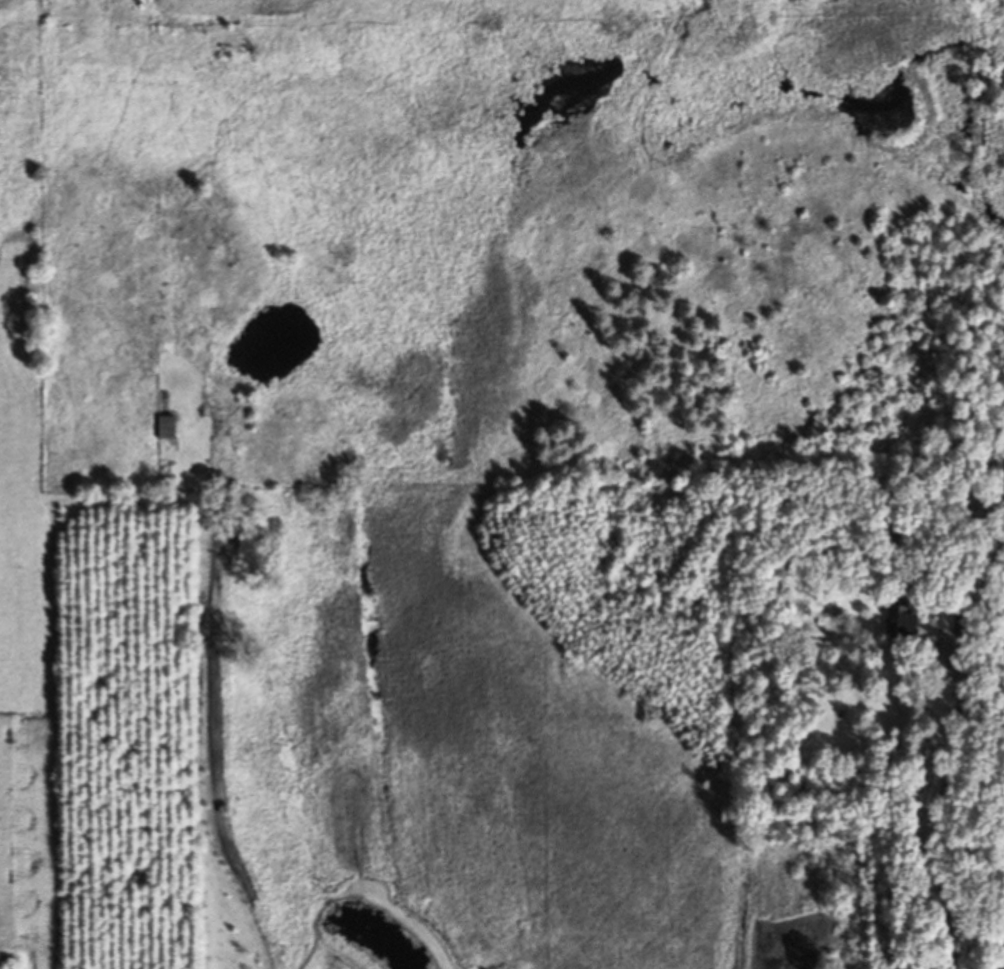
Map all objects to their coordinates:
building: (163, 429)
building: (896, 624)
road: (934, 801)
road: (1002, 965)

